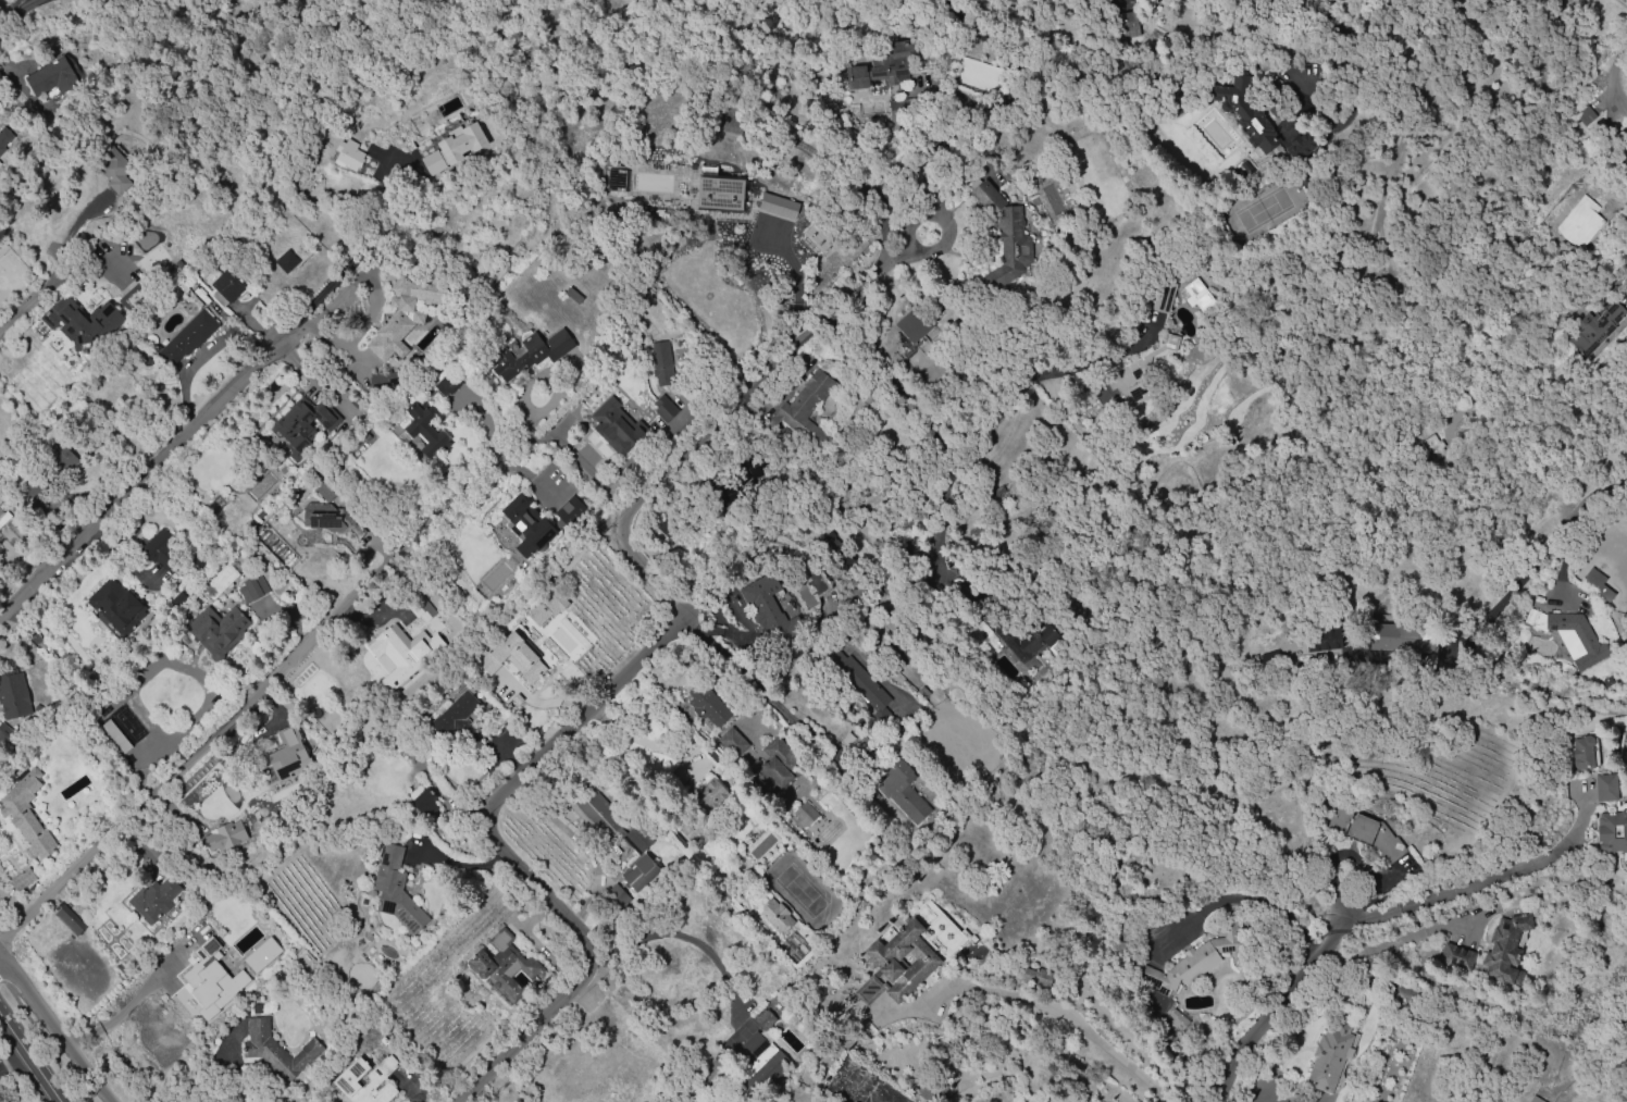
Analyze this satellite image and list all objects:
road: (16, 15)
building: (1127, 24)
road: (1320, 38)
building: (883, 69)
building: (50, 77)
building: (1228, 97)
building: (463, 114)
building: (1585, 117)
road: (968, 121)
building: (1257, 128)
building: (3, 138)
building: (1301, 144)
building: (454, 145)
building: (347, 154)
building: (113, 170)
building: (616, 178)
building: (720, 191)
building: (991, 195)
building: (778, 205)
road: (944, 221)
building: (1578, 227)
building: (818, 235)
building: (1017, 237)
road: (901, 256)
road: (352, 258)
building: (287, 262)
road: (796, 283)
building: (227, 287)
road: (374, 294)
road: (37, 295)
building: (1198, 295)
building: (573, 296)
building: (1163, 296)
building: (133, 298)
road: (1591, 299)
building: (407, 314)
building: (916, 324)
building: (94, 325)
building: (1594, 327)
building: (189, 336)
road: (280, 344)
building: (533, 352)
building: (663, 362)
building: (1138, 371)
building: (382, 377)
building: (446, 385)
building: (809, 407)
building: (665, 408)
building: (301, 425)
building: (614, 428)
road: (953, 428)
building: (425, 430)
road: (710, 431)
building: (1432, 446)
building: (60, 458)
road: (1617, 482)
building: (27, 488)
road: (125, 488)
building: (326, 493)
building: (722, 495)
building: (3, 518)
building: (321, 521)
building: (355, 529)
building: (519, 545)
building: (471, 559)
building: (154, 564)
road: (1493, 579)
building: (219, 582)
building: (1601, 585)
building: (252, 590)
building: (760, 599)
building: (117, 607)
building: (421, 607)
building: (546, 607)
building: (218, 631)
building: (396, 631)
building: (1382, 635)
building: (1322, 639)
building: (1582, 642)
building: (1036, 643)
building: (517, 667)
building: (340, 677)
building: (858, 680)
road: (258, 688)
building: (13, 697)
road: (774, 701)
building: (704, 704)
building: (458, 719)
building: (3, 733)
building: (115, 739)
building: (732, 742)
building: (1587, 754)
building: (286, 757)
building: (774, 765)
building: (905, 789)
building: (1610, 790)
building: (710, 792)
building: (423, 802)
building: (804, 813)
building: (596, 814)
building: (26, 816)
building: (245, 831)
building: (1614, 831)
building: (224, 835)
building: (639, 839)
road: (580, 842)
building: (1380, 847)
road: (509, 856)
building: (641, 874)
building: (22, 878)
road: (1468, 887)
building: (394, 892)
building: (617, 895)
road: (1260, 900)
building: (153, 902)
building: (774, 915)
building: (55, 929)
building: (1230, 940)
road: (1390, 942)
building: (1508, 951)
building: (261, 954)
building: (1460, 958)
building: (883, 962)
building: (504, 966)
building: (1185, 968)
road: (724, 973)
building: (1035, 976)
building: (210, 979)
building: (676, 989)
road: (1281, 1006)
road: (122, 1011)
building: (1178, 1018)
building: (765, 1020)
road: (1075, 1023)
road: (57, 1027)
building: (636, 1047)
building: (753, 1048)
building: (277, 1051)
road: (32, 1054)
road: (13, 1057)
building: (1332, 1060)
building: (582, 1075)
building: (365, 1080)
building: (1535, 1100)

